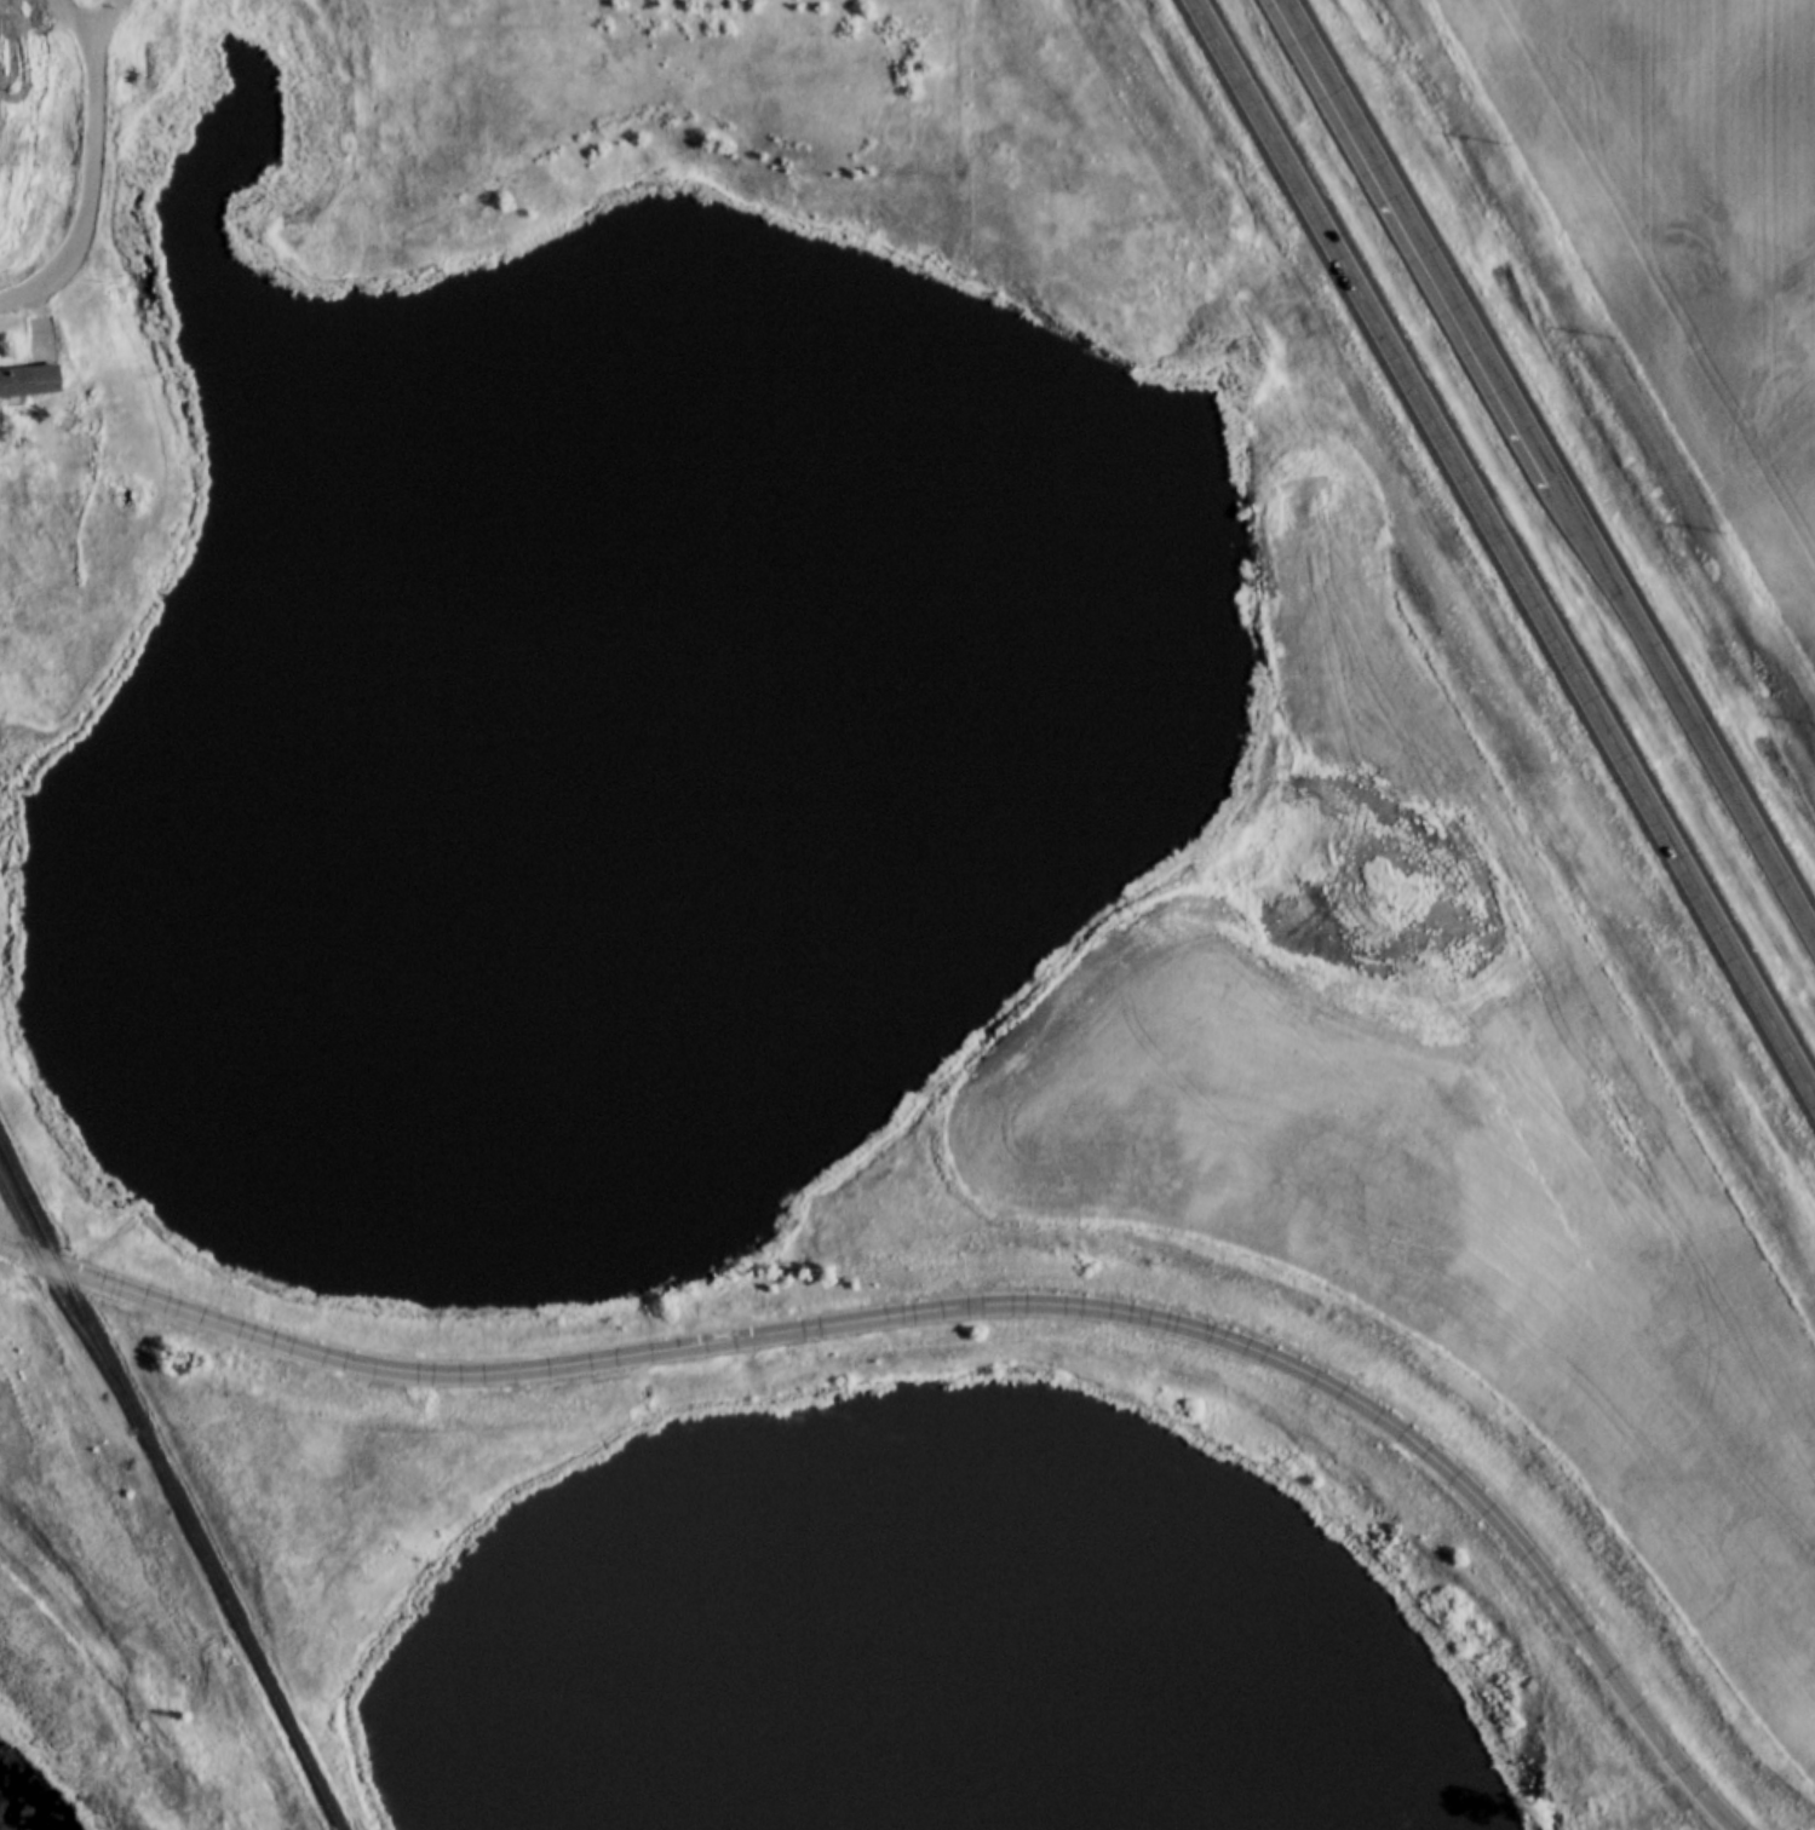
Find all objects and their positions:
road: (76, 18)
road: (92, 172)
road: (1417, 235)
building: (30, 380)
road: (1504, 547)
road: (1682, 703)
road: (966, 1306)
railway: (163, 1478)

